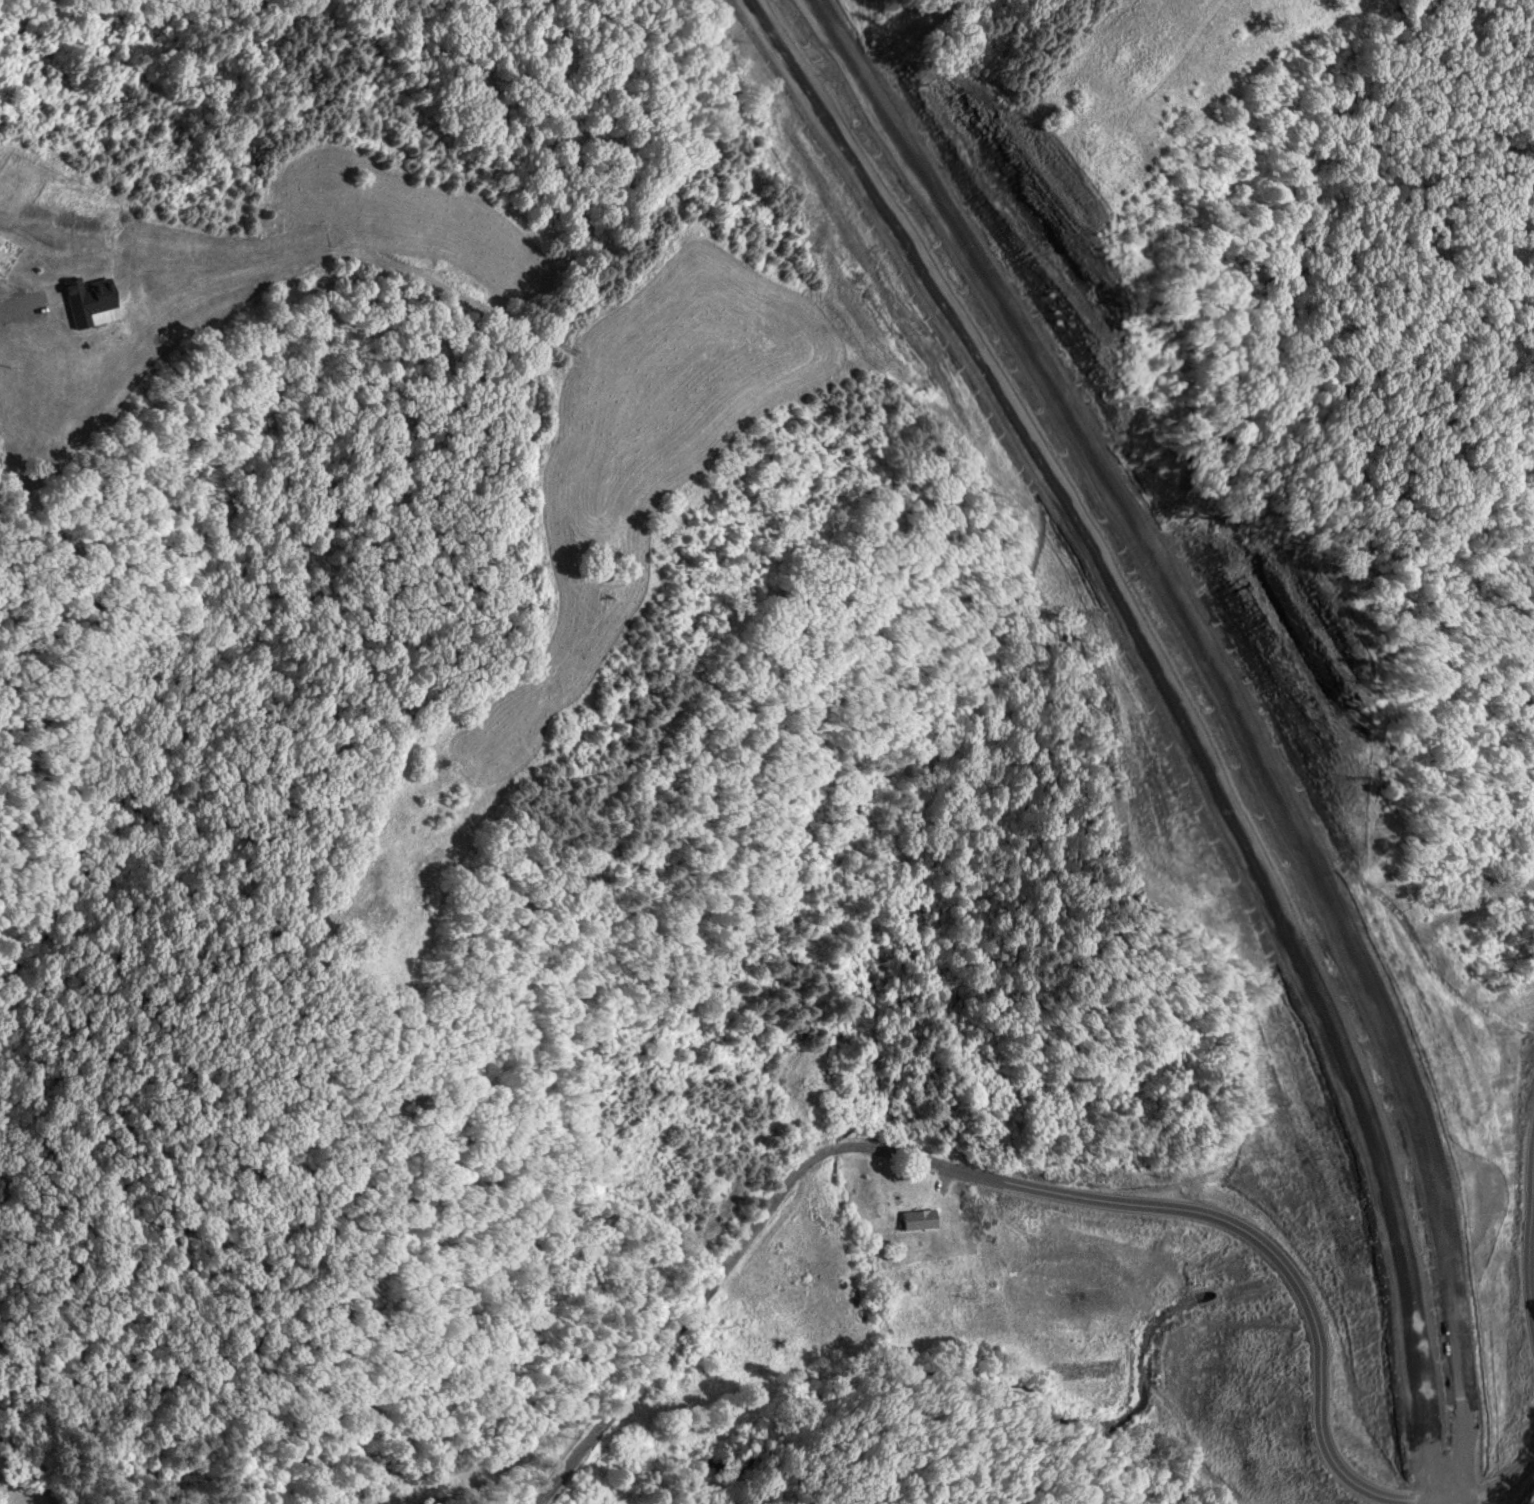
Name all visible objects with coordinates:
road: (1181, 717)
road: (1232, 718)
building: (1526, 1172)
building: (1505, 1185)
road: (1046, 1191)
building: (1465, 1210)
building: (918, 1220)
road: (1531, 1241)
building: (796, 1272)
road: (42, 1442)

